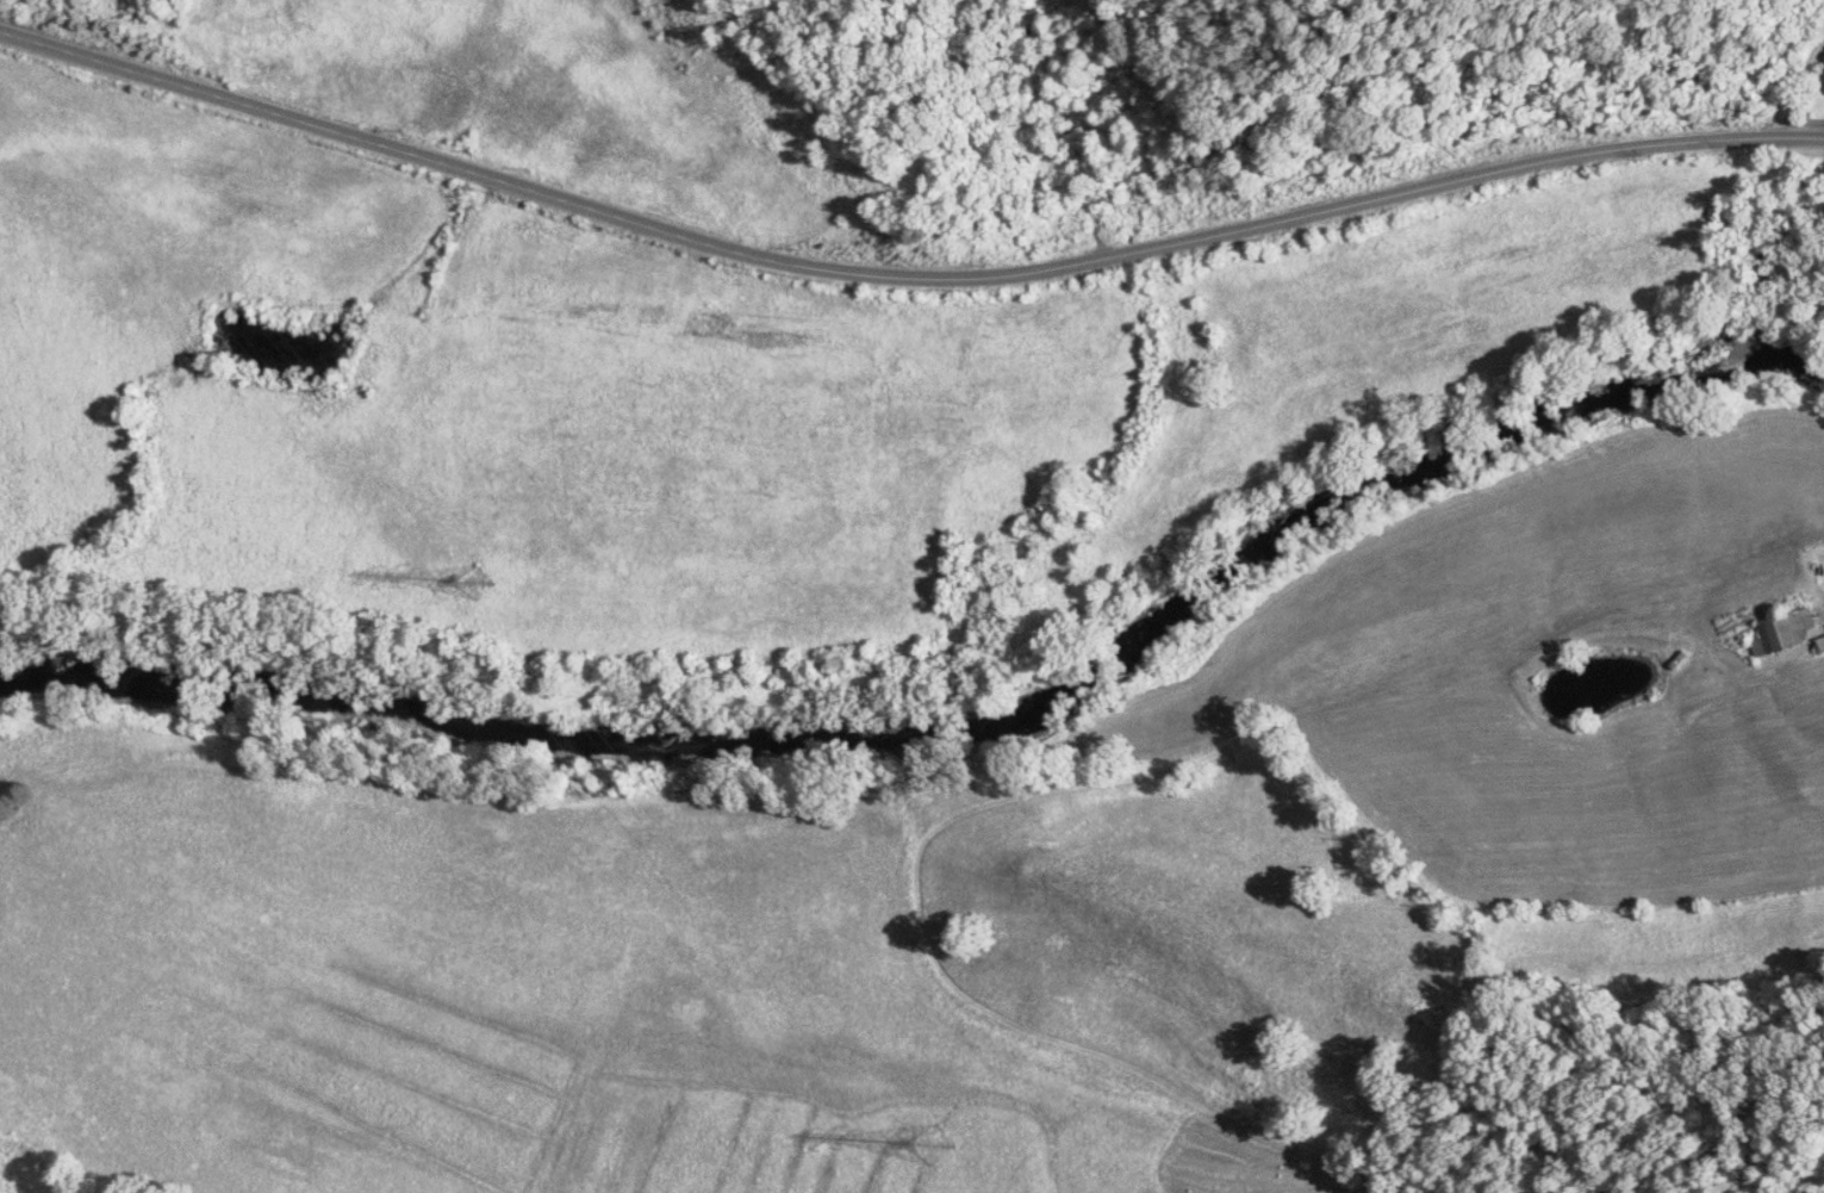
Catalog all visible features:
road: (1791, 82)
road: (902, 276)
building: (1780, 635)
building: (1820, 644)
river: (958, 733)

